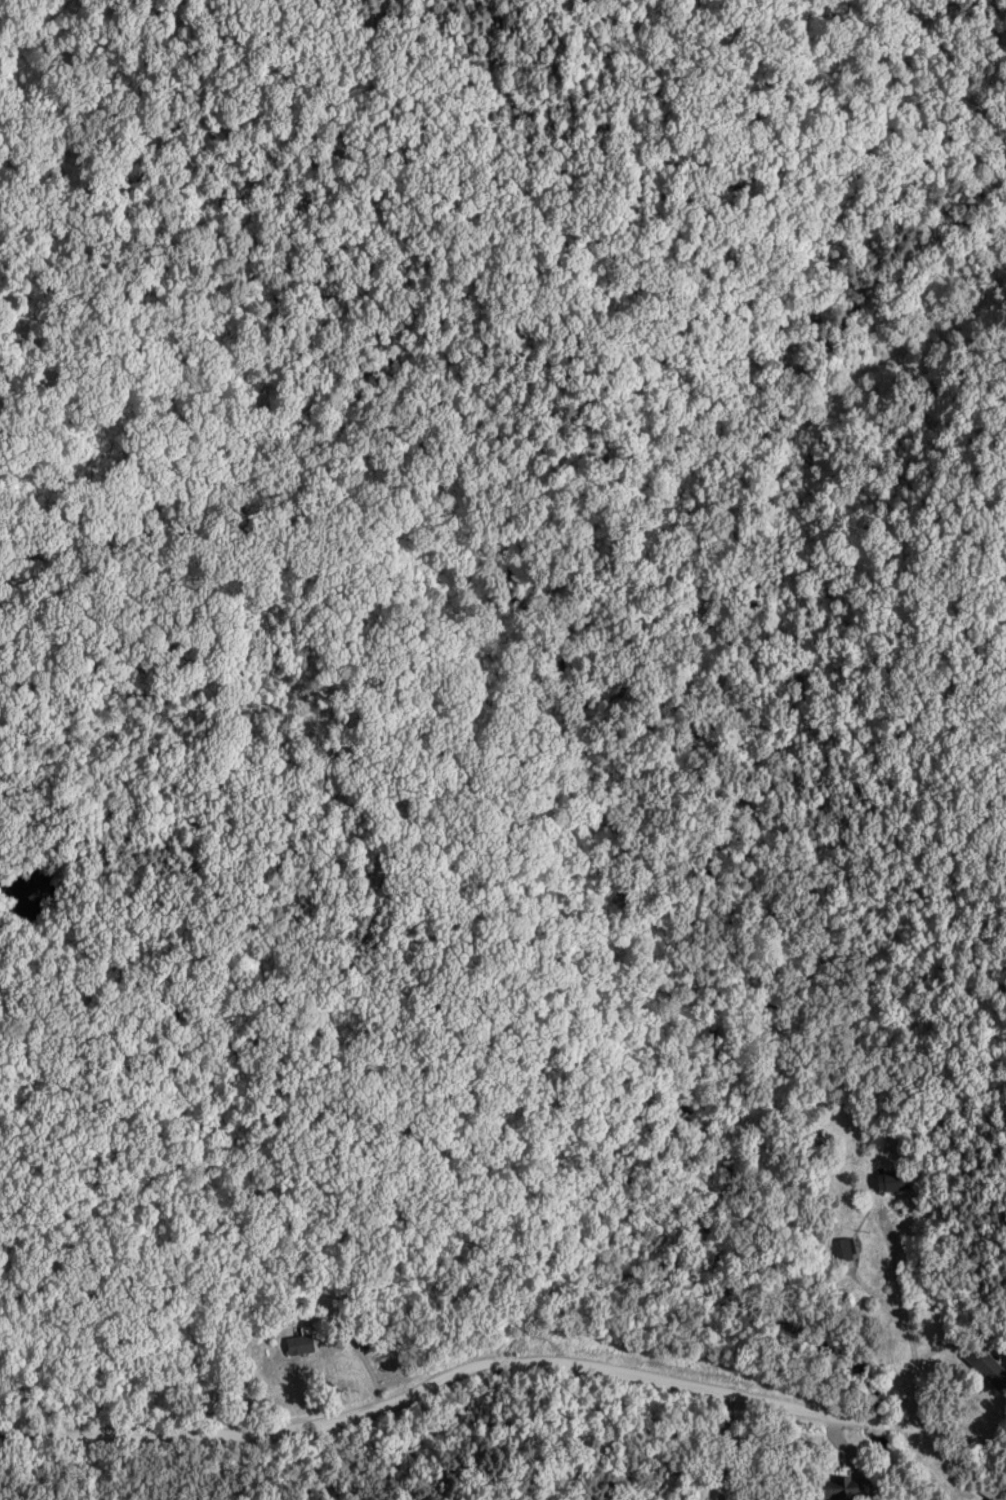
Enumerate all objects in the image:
building: (893, 1181)
building: (842, 1250)
road: (243, 1263)
road: (911, 1319)
building: (303, 1343)
road: (500, 1360)
building: (990, 1370)
building: (990, 1492)

